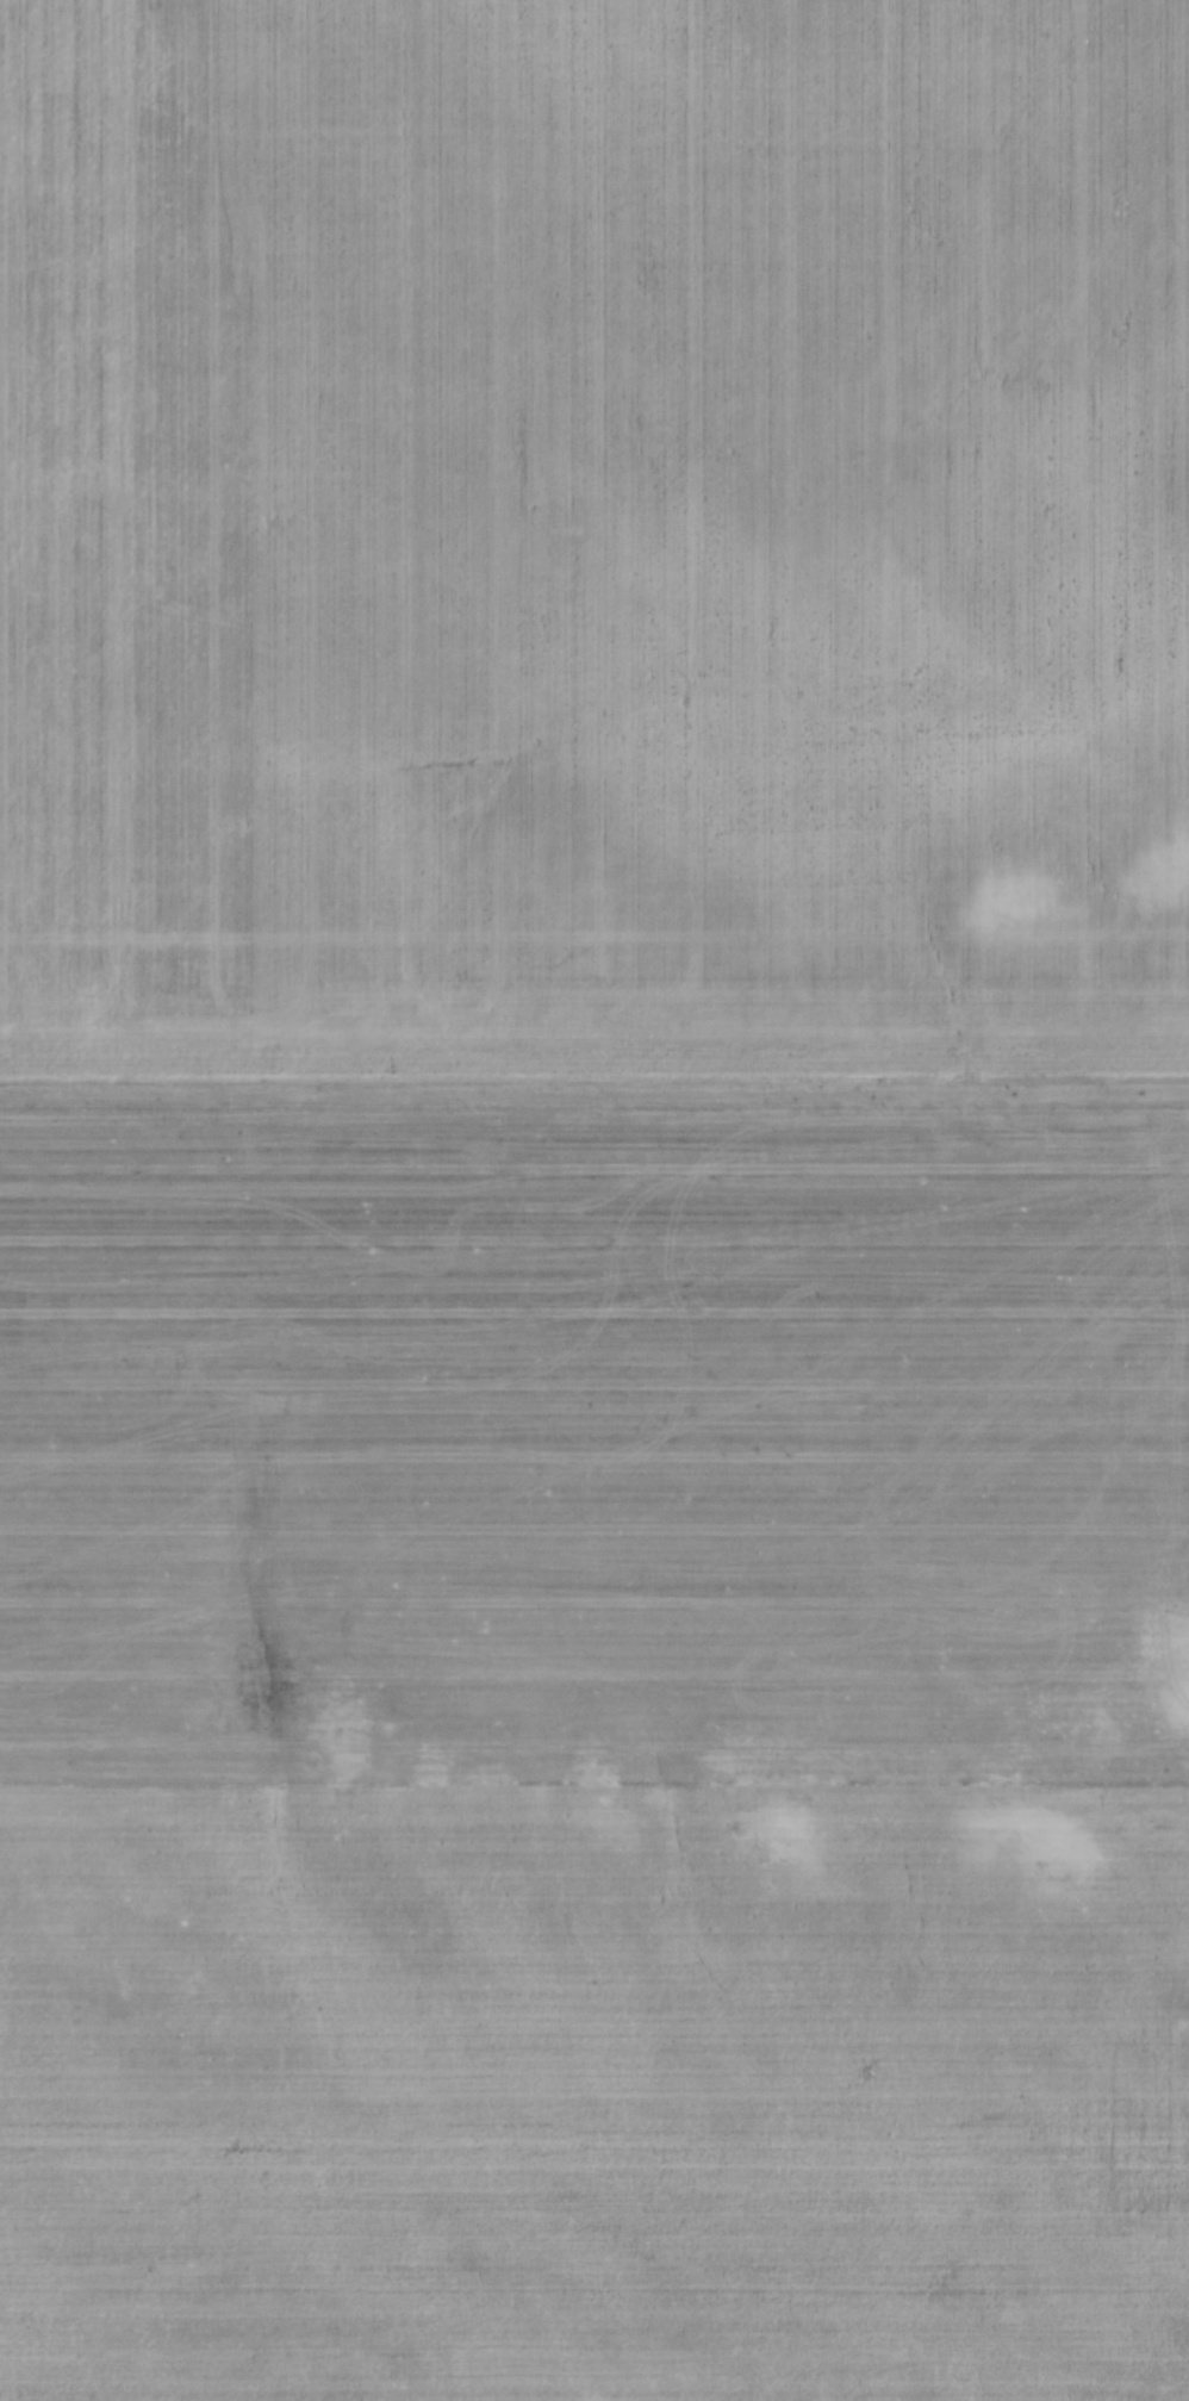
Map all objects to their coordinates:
crop: (594, 1200)

